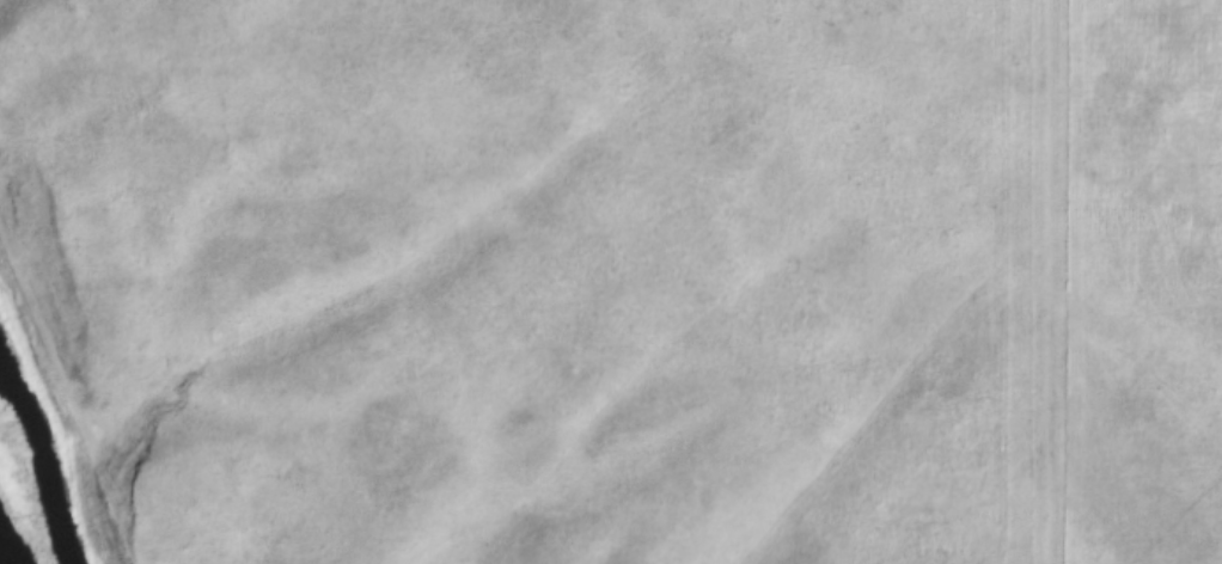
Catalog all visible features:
river: (4, 556)

